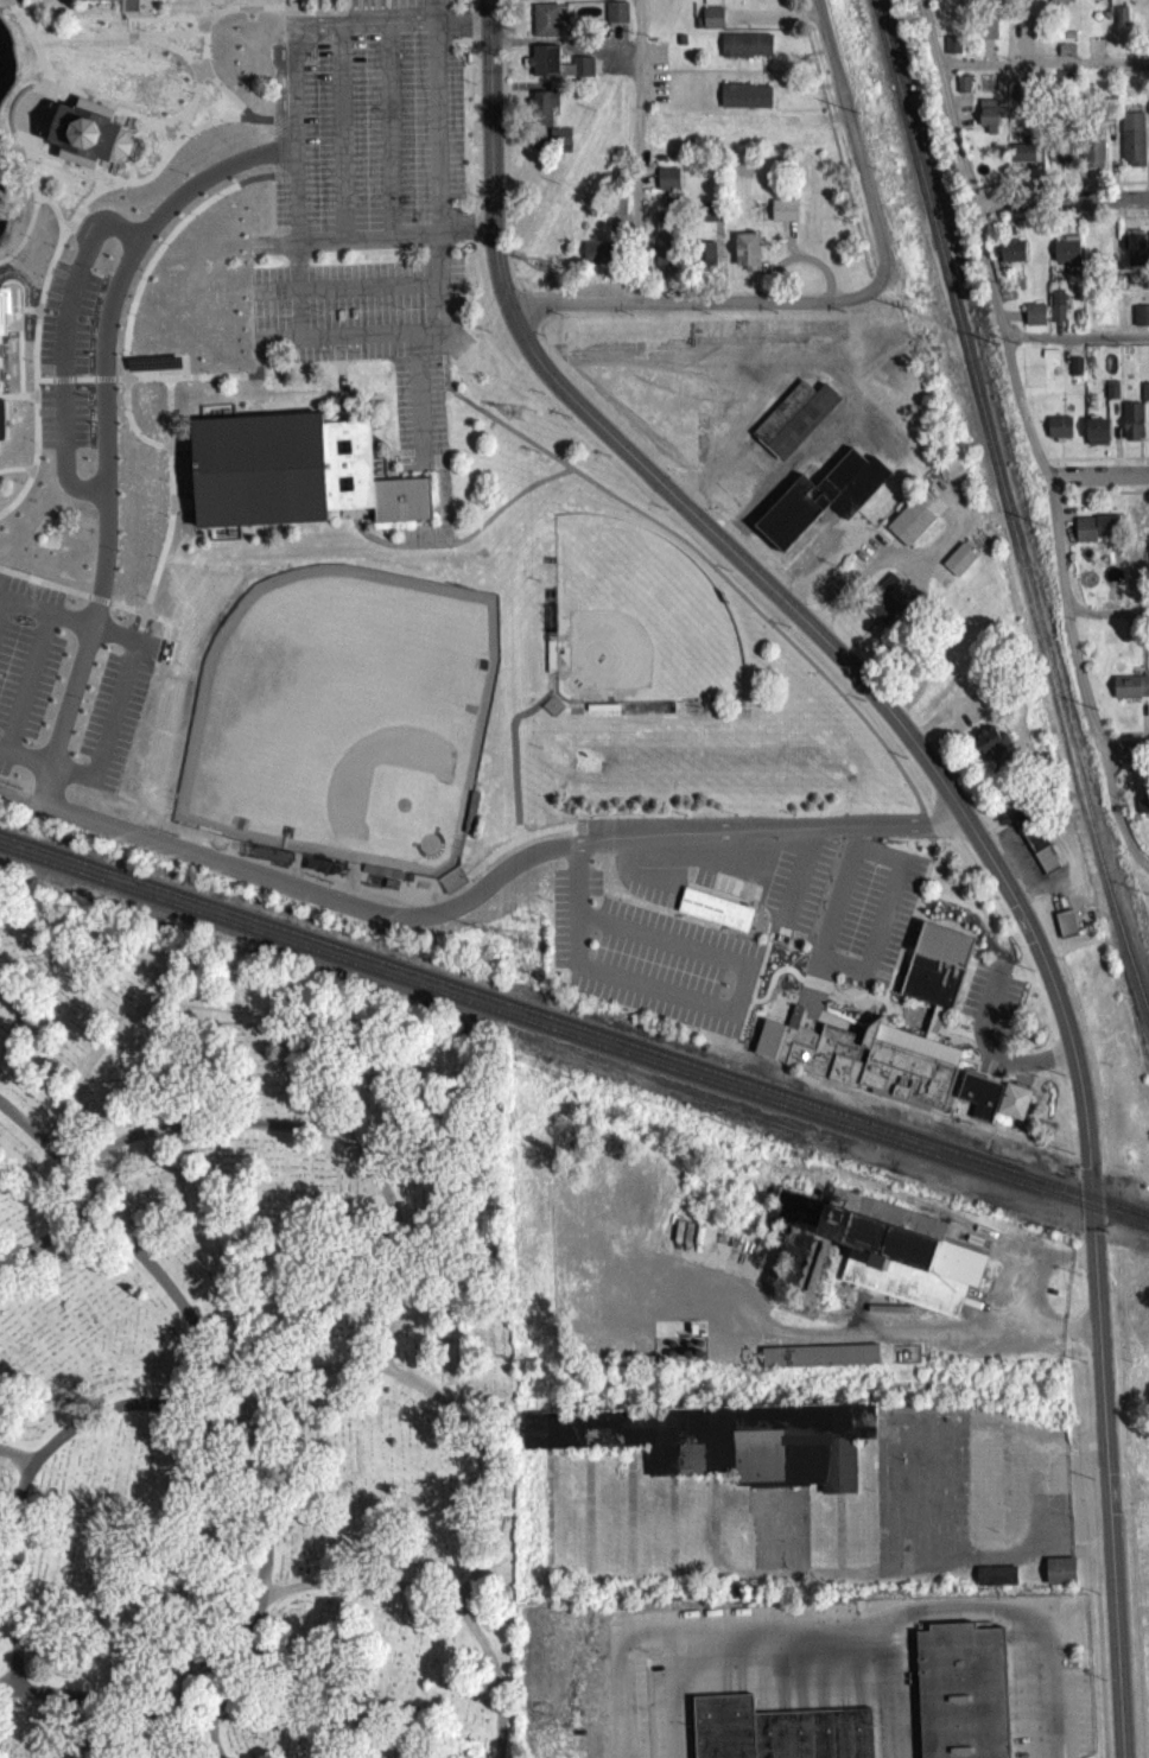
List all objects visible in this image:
road: (525, 0)
building: (1121, 0)
building: (1096, 1)
road: (345, 2)
building: (1024, 2)
road: (301, 4)
building: (1060, 4)
road: (9, 6)
building: (115, 6)
road: (288, 6)
road: (719, 8)
road: (13, 9)
road: (274, 9)
road: (11, 11)
road: (28, 12)
road: (245, 13)
road: (323, 13)
building: (616, 18)
road: (724, 19)
road: (146, 20)
road: (451, 21)
road: (770, 21)
building: (1119, 21)
road: (129, 23)
road: (23, 24)
building: (711, 24)
road: (203, 26)
road: (177, 27)
building: (547, 27)
building: (697, 27)
building: (988, 36)
road: (34, 37)
road: (616, 38)
road: (131, 39)
road: (107, 42)
building: (680, 45)
road: (561, 46)
road: (167, 49)
road: (468, 49)
building: (952, 50)
building: (744, 51)
road: (203, 55)
road: (824, 56)
building: (1066, 56)
road: (815, 58)
road: (811, 59)
road: (296, 61)
building: (466, 63)
building: (557, 69)
road: (1047, 70)
road: (726, 77)
road: (735, 77)
road: (760, 77)
road: (786, 78)
parking lot: (654, 80)
road: (789, 81)
road: (795, 84)
road: (833, 89)
building: (963, 90)
road: (520, 91)
road: (825, 91)
road: (820, 93)
road: (63, 95)
road: (223, 96)
road: (196, 102)
building: (743, 102)
building: (544, 114)
road: (840, 119)
road: (831, 121)
building: (988, 121)
road: (389, 125)
road: (158, 127)
road: (342, 127)
road: (283, 128)
road: (180, 129)
road: (266, 129)
road: (829, 134)
building: (85, 139)
road: (26, 140)
road: (159, 141)
building: (559, 141)
road: (831, 141)
building: (1132, 145)
road: (165, 146)
road: (503, 151)
road: (634, 153)
road: (855, 153)
building: (1022, 158)
building: (1060, 158)
building: (1092, 159)
road: (44, 160)
road: (154, 174)
road: (94, 178)
road: (283, 182)
building: (666, 184)
road: (645, 185)
road: (96, 186)
road: (118, 192)
road: (1065, 201)
building: (615, 210)
parking lot: (368, 215)
building: (782, 215)
road: (392, 228)
road: (434, 242)
road: (787, 245)
building: (664, 247)
building: (1132, 255)
building: (744, 256)
building: (602, 258)
building: (1065, 258)
building: (705, 260)
road: (807, 264)
power tower: (542, 273)
road: (868, 281)
road: (322, 283)
road: (868, 285)
road: (294, 287)
road: (761, 287)
road: (18, 291)
road: (868, 292)
road: (137, 294)
road: (520, 299)
road: (686, 307)
road: (532, 310)
building: (1059, 311)
building: (4, 313)
road: (26, 316)
building: (1034, 320)
building: (1141, 322)
road: (278, 336)
building: (745, 337)
road: (104, 341)
road: (336, 342)
road: (19, 344)
road: (1078, 344)
road: (61, 351)
road: (258, 354)
road: (33, 357)
road: (337, 358)
parking lot: (63, 362)
building: (152, 369)
solar farm: (152, 369)
road: (183, 374)
road: (188, 382)
road: (82, 385)
road: (102, 385)
road: (42, 386)
road: (61, 386)
road: (93, 388)
road: (338, 396)
building: (1111, 396)
building: (1144, 398)
road: (17, 402)
building: (652, 408)
road: (166, 418)
power tower: (515, 418)
road: (329, 423)
building: (793, 424)
building: (2, 425)
building: (1132, 427)
road: (1037, 434)
building: (1059, 434)
building: (1097, 438)
road: (656, 470)
road: (24, 474)
road: (14, 475)
railway: (1001, 476)
road: (1102, 476)
building: (292, 480)
building: (820, 502)
road: (169, 503)
road: (180, 510)
building: (912, 525)
building: (1096, 534)
road: (462, 545)
building: (958, 565)
road: (711, 575)
road: (43, 588)
road: (769, 596)
road: (87, 602)
road: (96, 604)
building: (884, 608)
road: (2, 614)
road: (43, 617)
road: (1110, 618)
road: (153, 622)
park: (635, 624)
road: (23, 686)
parking lot: (65, 692)
building: (1130, 693)
road: (113, 711)
road: (62, 719)
park: (342, 723)
building: (990, 749)
road: (512, 753)
road: (1128, 754)
road: (24, 762)
building: (1142, 807)
road: (806, 832)
road: (519, 838)
road: (518, 845)
building: (1035, 846)
road: (571, 848)
road: (576, 853)
road: (518, 867)
road: (929, 870)
road: (239, 871)
parking lot: (729, 877)
road: (637, 880)
road: (800, 881)
parking lot: (650, 882)
road: (738, 882)
parking lot: (794, 894)
building: (713, 916)
parking lot: (865, 918)
building: (1065, 929)
road: (907, 932)
road: (776, 935)
road: (94, 937)
power tower: (523, 946)
parking lot: (649, 965)
road: (719, 966)
building: (935, 971)
road: (845, 977)
railway: (1138, 979)
road: (754, 982)
road: (770, 985)
road: (813, 989)
road: (753, 992)
road: (815, 995)
parking lot: (991, 1002)
road: (741, 1003)
road: (794, 1003)
road: (853, 1003)
road: (801, 1010)
road: (781, 1011)
road: (972, 1021)
building: (793, 1023)
road: (910, 1027)
railway: (573, 1032)
railway: (545, 1034)
road: (324, 1035)
road: (953, 1036)
road: (963, 1040)
road: (893, 1042)
building: (767, 1045)
road: (975, 1045)
road: (988, 1054)
road: (944, 1060)
building: (874, 1068)
road: (1023, 1081)
road: (988, 1087)
building: (978, 1100)
building: (1012, 1108)
road: (203, 1119)
road: (57, 1154)
railway: (1119, 1221)
road: (49, 1237)
building: (881, 1256)
road: (1026, 1295)
road: (185, 1306)
road: (842, 1328)
park: (249, 1358)
building: (818, 1360)
power tower: (533, 1365)
road: (444, 1400)
road: (126, 1404)
building: (722, 1446)
road: (1105, 1479)
road: (264, 1505)
road: (13, 1568)
building: (1059, 1576)
road: (370, 1580)
building: (995, 1581)
road: (880, 1618)
road: (1099, 1678)
road: (893, 1687)
building: (958, 1694)
road: (129, 1701)
power tower: (539, 1711)
building: (776, 1733)

